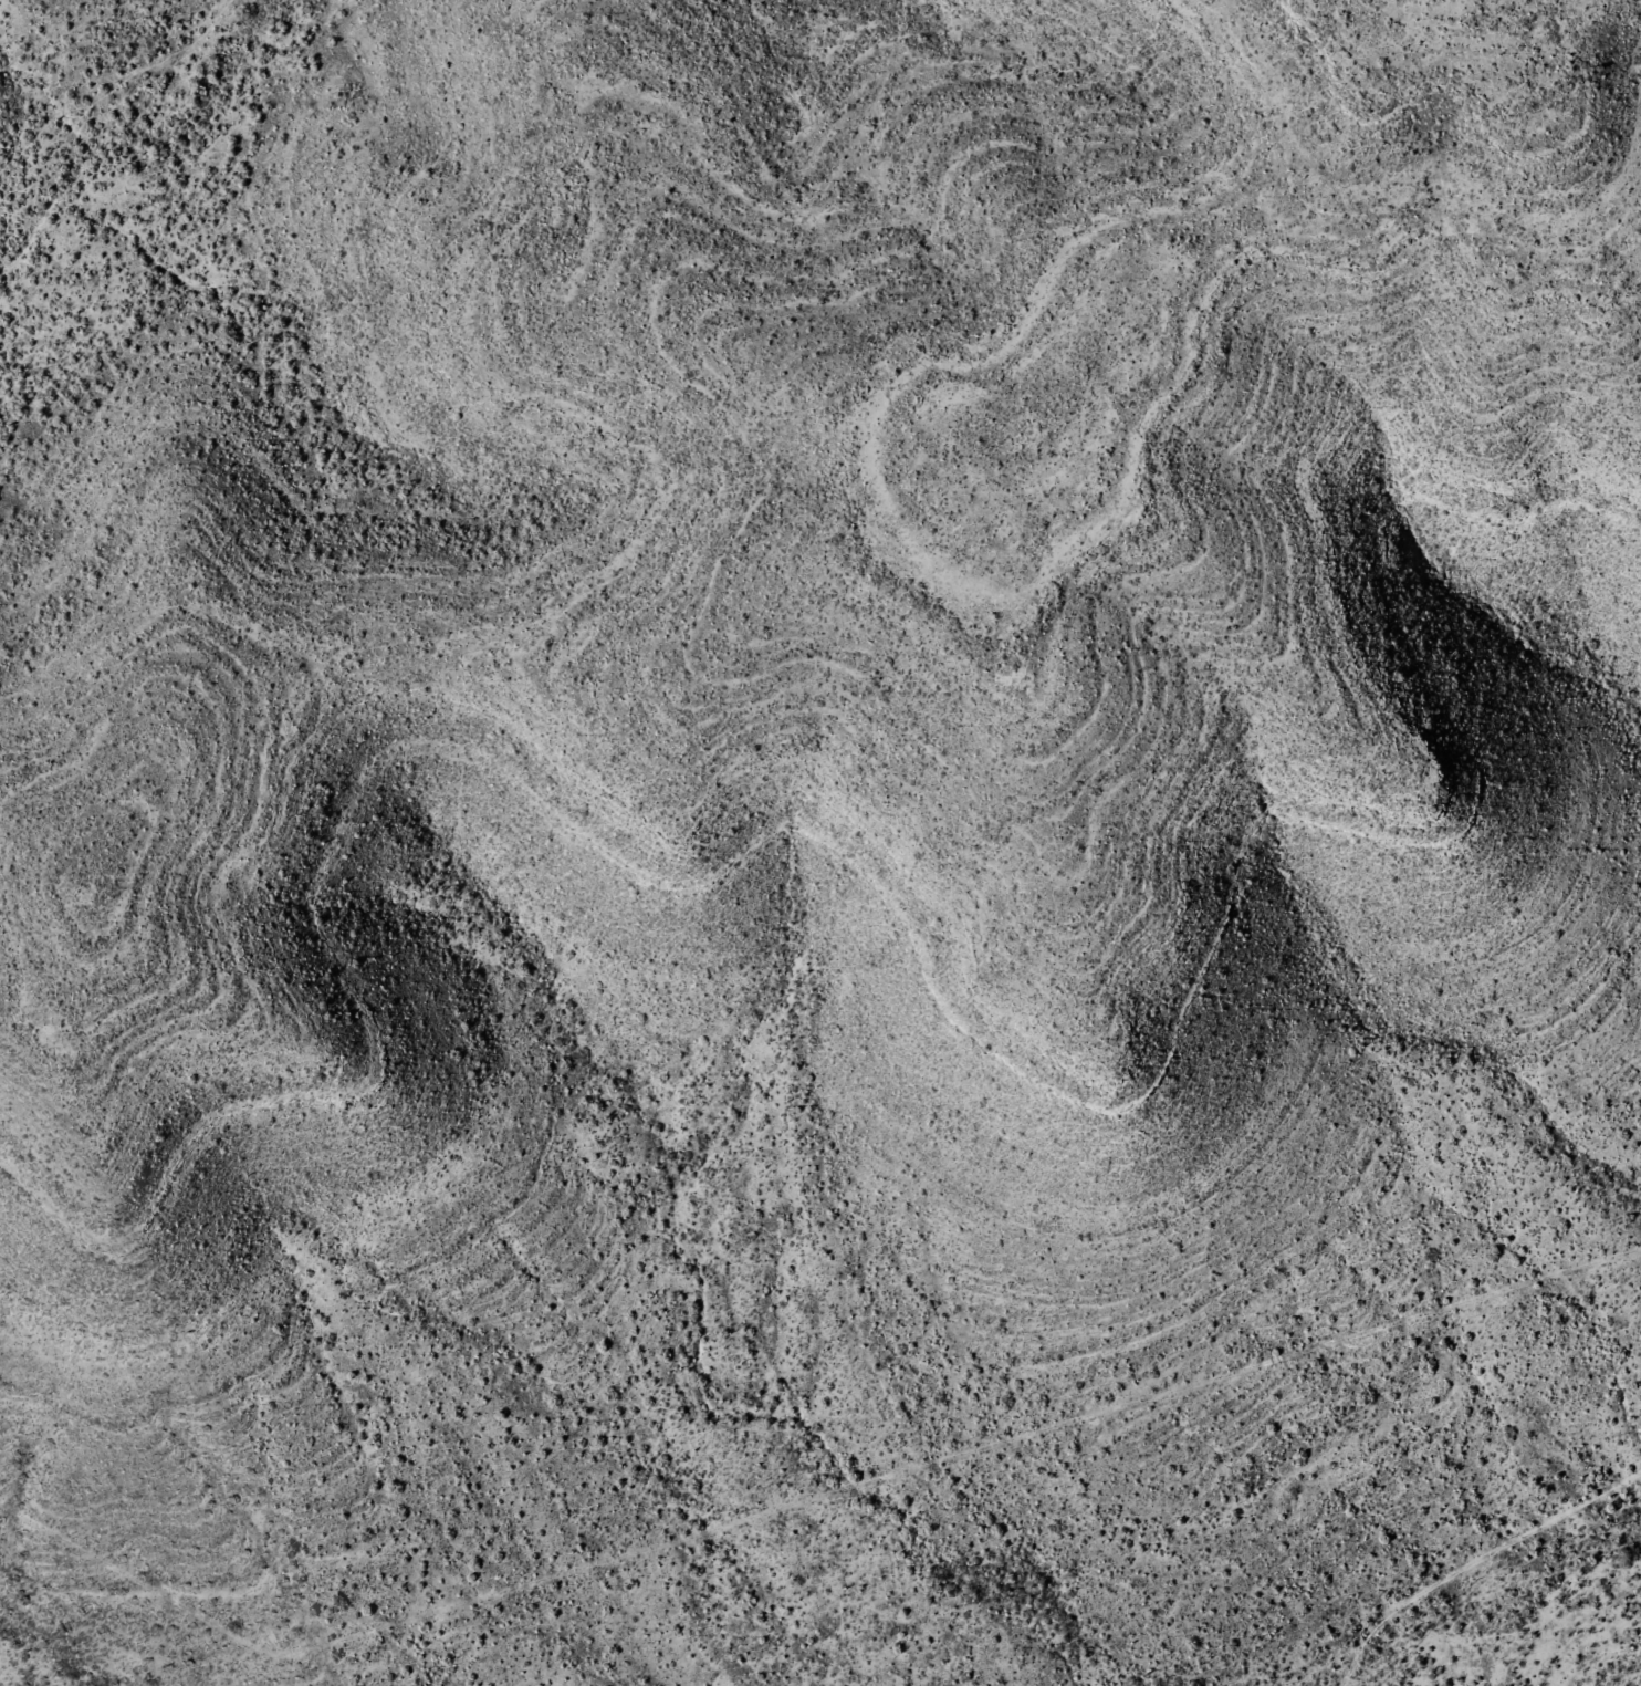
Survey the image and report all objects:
road: (1473, 1561)

